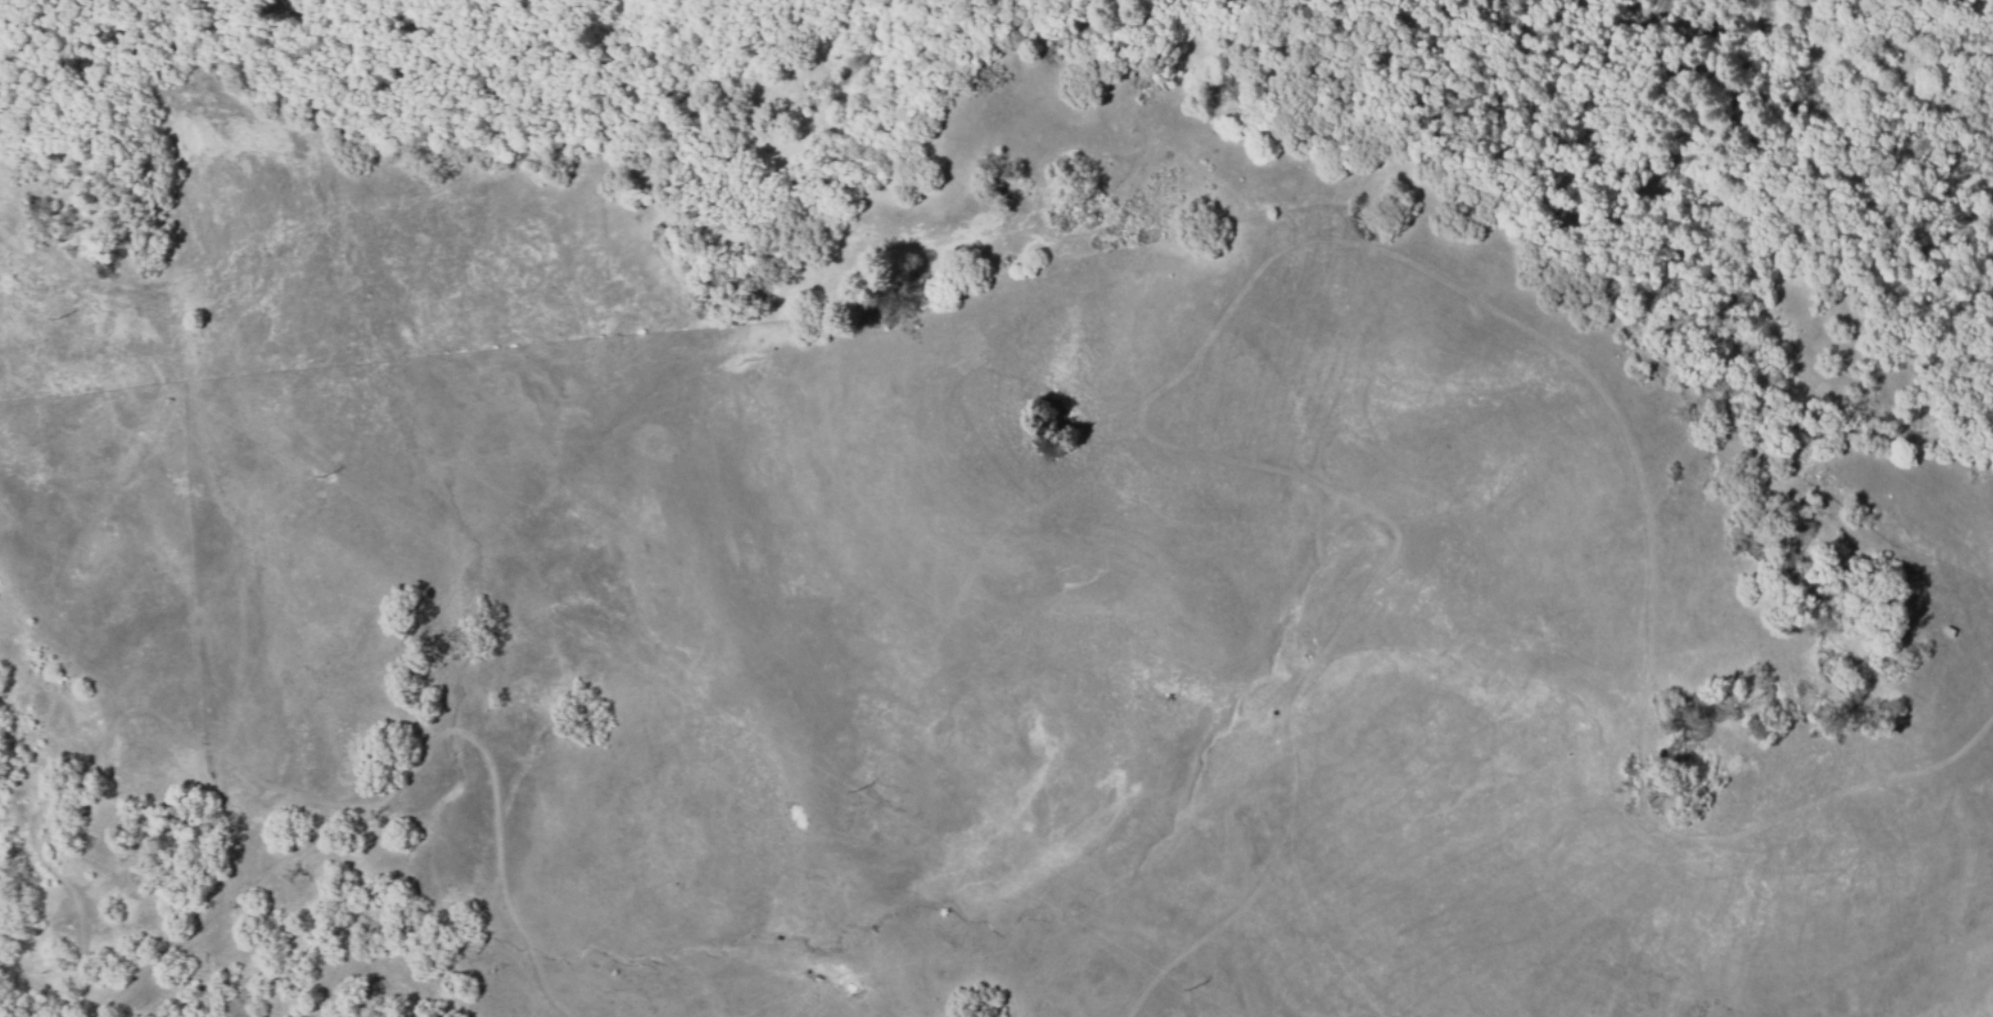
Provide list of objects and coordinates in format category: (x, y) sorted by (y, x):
building: (1947, 631)

